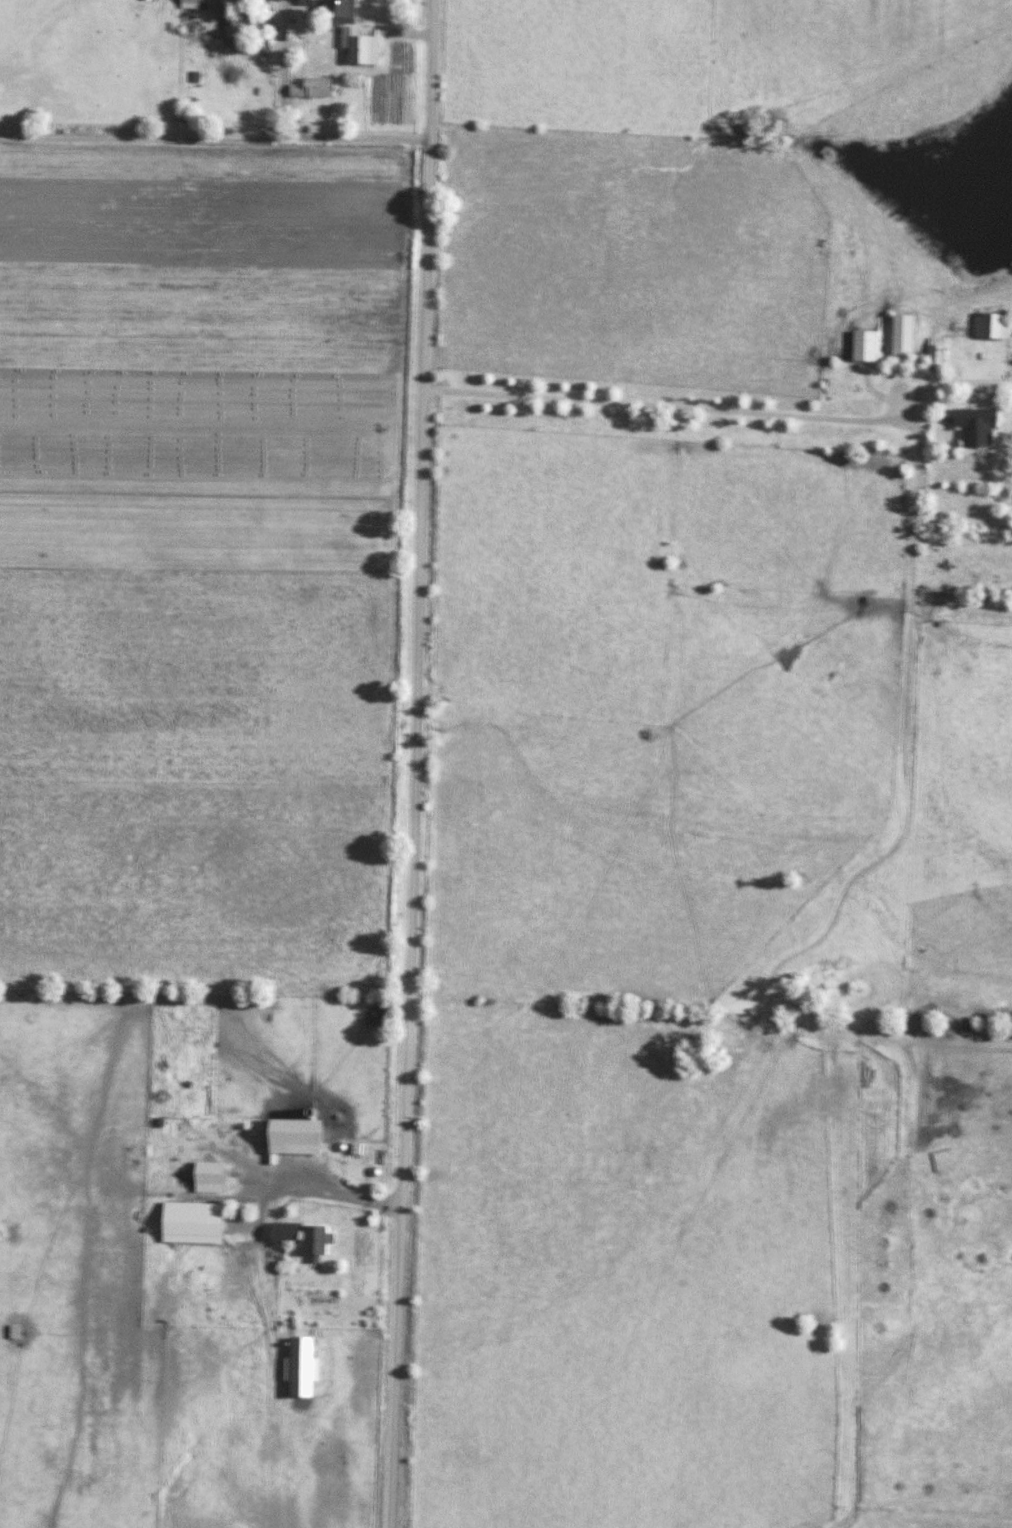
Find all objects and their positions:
building: (190, 3)
building: (340, 10)
building: (248, 23)
road: (279, 62)
building: (319, 87)
road: (217, 139)
building: (993, 326)
building: (903, 335)
building: (865, 346)
building: (937, 352)
road: (943, 388)
building: (976, 426)
road: (916, 460)
road: (416, 764)
building: (168, 1066)
building: (197, 1127)
building: (305, 1137)
building: (219, 1177)
road: (341, 1192)
building: (315, 1241)
building: (22, 1331)

